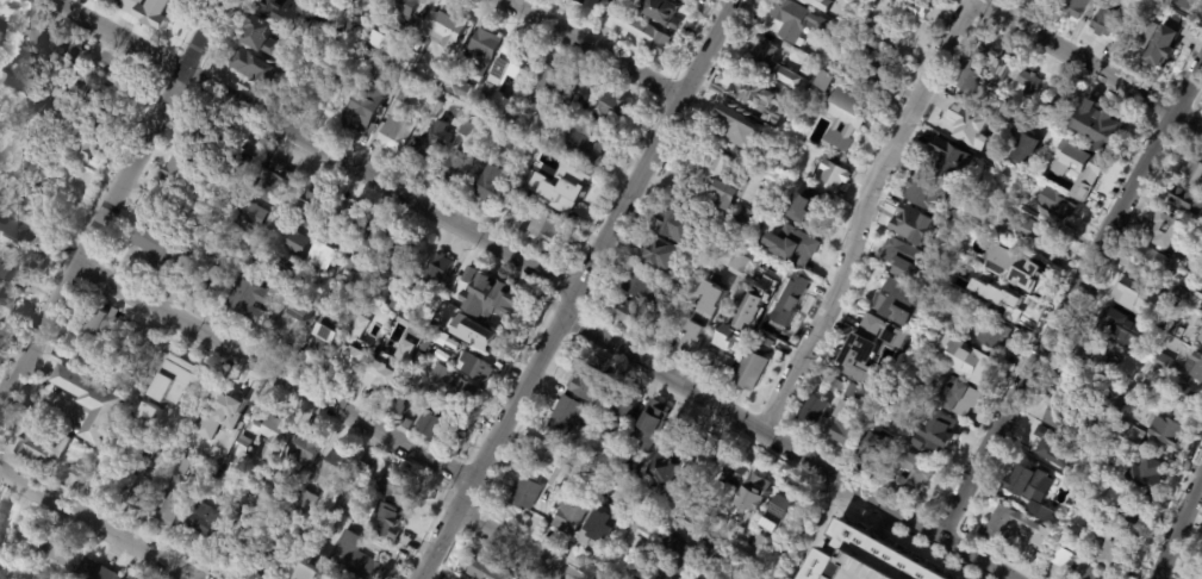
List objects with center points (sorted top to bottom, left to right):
building: (378, 0)
building: (112, 1)
building: (369, 1)
building: (679, 1)
road: (966, 1)
building: (1129, 1)
building: (593, 2)
building: (583, 4)
building: (820, 4)
building: (337, 5)
building: (405, 5)
building: (1183, 5)
building: (1140, 6)
building: (345, 7)
building: (914, 7)
building: (828, 8)
building: (1073, 8)
building: (295, 12)
building: (660, 13)
building: (801, 19)
building: (1106, 21)
building: (349, 23)
building: (443, 27)
building: (2, 29)
building: (634, 32)
building: (263, 37)
building: (1138, 37)
building: (375, 38)
building: (1164, 48)
building: (481, 51)
road: (588, 52)
building: (311, 55)
building: (73, 57)
building: (406, 57)
building: (29, 61)
building: (778, 62)
building: (362, 64)
road: (1084, 66)
building: (255, 67)
building: (999, 68)
building: (876, 70)
building: (972, 71)
building: (500, 76)
building: (2, 77)
building: (827, 79)
building: (542, 82)
building: (572, 83)
building: (453, 85)
building: (1030, 85)
building: (319, 88)
building: (106, 93)
building: (403, 93)
building: (41, 96)
building: (565, 96)
building: (759, 99)
building: (366, 106)
building: (608, 106)
building: (1061, 106)
building: (432, 108)
building: (846, 116)
building: (511, 118)
building: (736, 126)
building: (966, 126)
building: (462, 127)
building: (1098, 127)
building: (71, 131)
building: (394, 132)
building: (198, 139)
building: (505, 139)
road: (318, 144)
building: (584, 145)
building: (429, 147)
building: (1026, 150)
building: (11, 154)
building: (238, 161)
building: (949, 161)
building: (1073, 163)
building: (455, 166)
building: (183, 172)
building: (835, 172)
building: (1192, 174)
building: (725, 181)
building: (273, 182)
building: (783, 182)
building: (486, 183)
building: (990, 185)
building: (567, 187)
building: (530, 191)
building: (923, 193)
road: (108, 199)
building: (1187, 199)
building: (314, 206)
building: (804, 206)
building: (1055, 206)
building: (523, 210)
building: (250, 212)
road: (858, 214)
building: (343, 217)
building: (737, 220)
building: (208, 224)
building: (910, 225)
building: (675, 226)
building: (543, 228)
building: (998, 231)
building: (1067, 232)
building: (376, 234)
building: (1166, 234)
building: (1036, 236)
building: (298, 243)
building: (792, 243)
building: (157, 248)
building: (320, 253)
building: (195, 256)
building: (400, 256)
building: (659, 256)
building: (902, 259)
building: (983, 261)
building: (741, 263)
building: (348, 264)
building: (1146, 264)
building: (291, 268)
building: (1024, 270)
building: (438, 272)
building: (14, 273)
building: (982, 284)
building: (298, 285)
building: (216, 286)
road: (578, 288)
building: (642, 289)
building: (457, 291)
building: (890, 291)
building: (680, 294)
building: (1179, 294)
road: (1065, 295)
building: (251, 299)
building: (500, 300)
building: (1195, 300)
building: (1007, 301)
building: (392, 303)
building: (329, 305)
building: (6, 307)
building: (785, 310)
building: (630, 316)
building: (745, 316)
building: (365, 317)
building: (703, 318)
building: (102, 319)
building: (1114, 320)
building: (293, 324)
building: (762, 329)
building: (1161, 331)
building: (472, 332)
building: (1178, 332)
building: (991, 334)
building: (893, 336)
building: (649, 338)
building: (1200, 338)
building: (148, 341)
building: (324, 342)
building: (764, 342)
building: (864, 342)
building: (423, 344)
road: (237, 348)
building: (1092, 350)
building: (1147, 353)
building: (350, 355)
building: (1110, 361)
building: (1163, 363)
building: (723, 365)
building: (1195, 366)
building: (388, 368)
building: (475, 368)
building: (163, 369)
building: (972, 371)
building: (749, 372)
building: (588, 382)
building: (833, 384)
building: (453, 386)
building: (194, 392)
building: (852, 392)
building: (1145, 393)
building: (1083, 394)
building: (93, 400)
building: (1185, 400)
building: (965, 401)
building: (399, 404)
building: (1116, 404)
building: (623, 406)
building: (225, 411)
building: (811, 411)
building: (566, 415)
building: (157, 422)
building: (648, 423)
building: (434, 424)
building: (1071, 424)
building: (845, 425)
building: (1167, 429)
building: (272, 432)
building: (578, 432)
building: (1129, 432)
building: (938, 435)
building: (44, 443)
building: (608, 443)
building: (306, 448)
road: (787, 448)
building: (1053, 448)
building: (239, 449)
building: (148, 452)
building: (706, 459)
building: (1097, 465)
building: (183, 466)
building: (629, 466)
building: (357, 467)
building: (331, 468)
building: (658, 468)
building: (1147, 468)
building: (734, 472)
building: (79, 473)
building: (216, 473)
building: (558, 473)
building: (909, 475)
building: (107, 478)
building: (278, 479)
building: (1026, 484)
building: (396, 485)
building: (611, 487)
building: (524, 490)
building: (662, 491)
building: (751, 492)
building: (139, 493)
building: (621, 496)
building: (305, 500)
building: (1086, 503)
building: (1121, 505)
building: (780, 506)
building: (708, 509)
building: (170, 510)
building: (235, 512)
building: (572, 512)
building: (295, 513)
building: (1, 517)
building: (1046, 517)
building: (203, 519)
building: (385, 521)
road: (884, 522)
road: (99, 523)
road: (795, 523)
building: (309, 528)
building: (997, 528)
road: (710, 530)
road: (1177, 530)
building: (599, 534)
building: (1077, 535)
building: (27, 540)
road: (897, 540)
building: (633, 542)
building: (758, 542)
road: (811, 542)
building: (232, 546)
road: (513, 547)
building: (1110, 549)
building: (868, 553)
building: (710, 554)
building: (353, 558)
building: (673, 558)
building: (62, 559)
building: (731, 560)
building: (1063, 560)
building: (742, 566)
building: (272, 567)
building: (1, 568)
building: (858, 568)
parking garage: (858, 568)
building: (95, 571)
building: (313, 571)
building: (485, 571)
building: (1085, 573)
building: (1198, 575)

